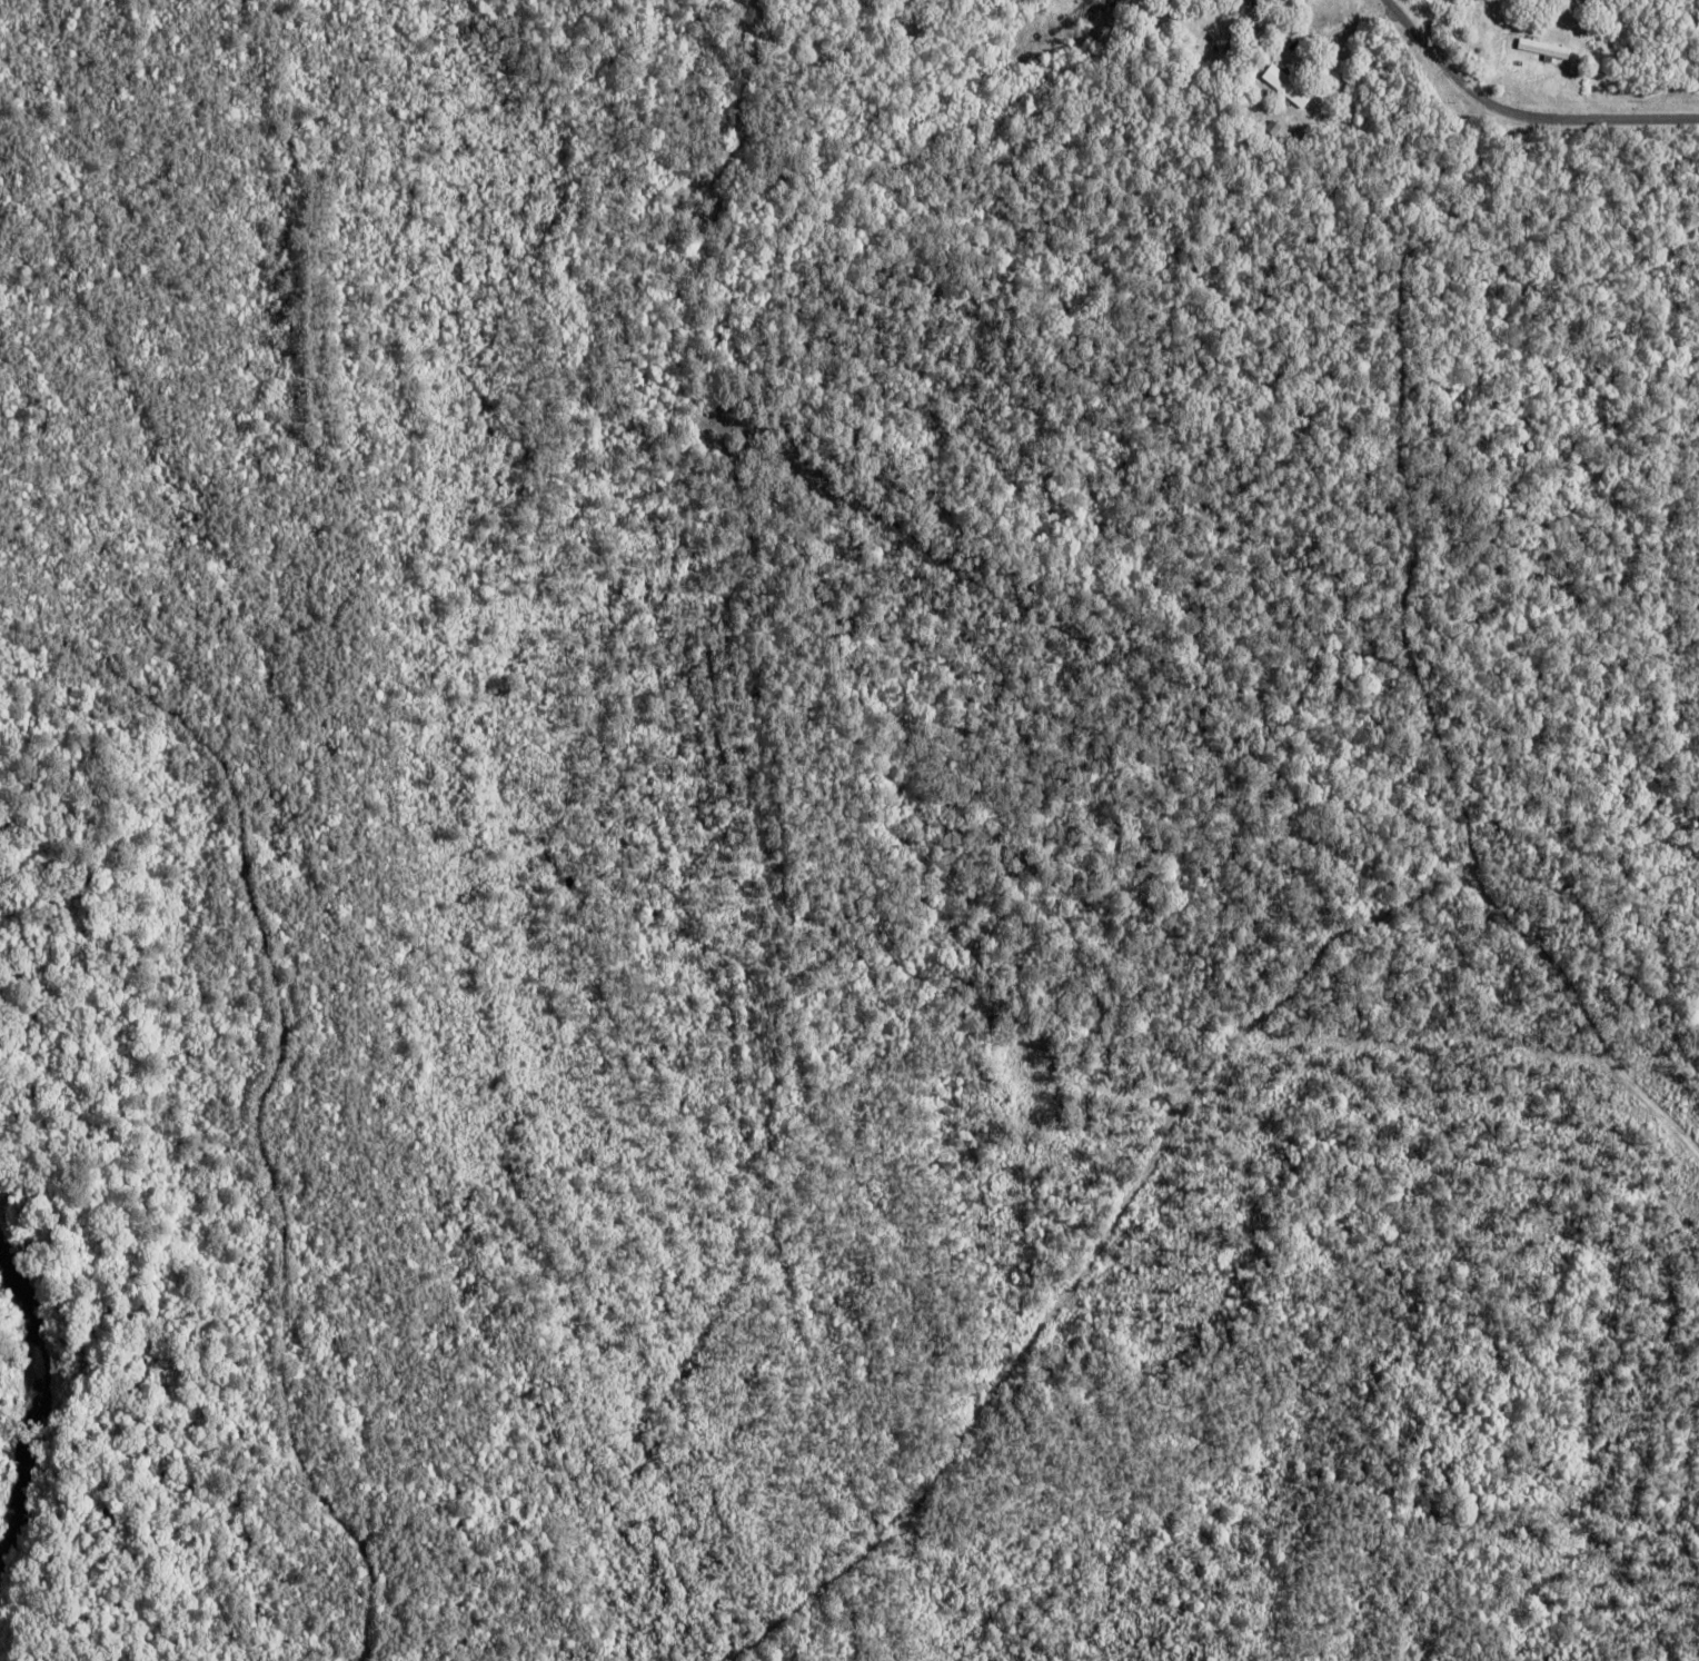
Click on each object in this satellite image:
building: (1260, 4)
building: (1479, 32)
building: (1547, 47)
building: (1289, 89)
road: (1521, 113)
building: (1274, 130)
road: (1458, 736)
river: (10, 1400)

